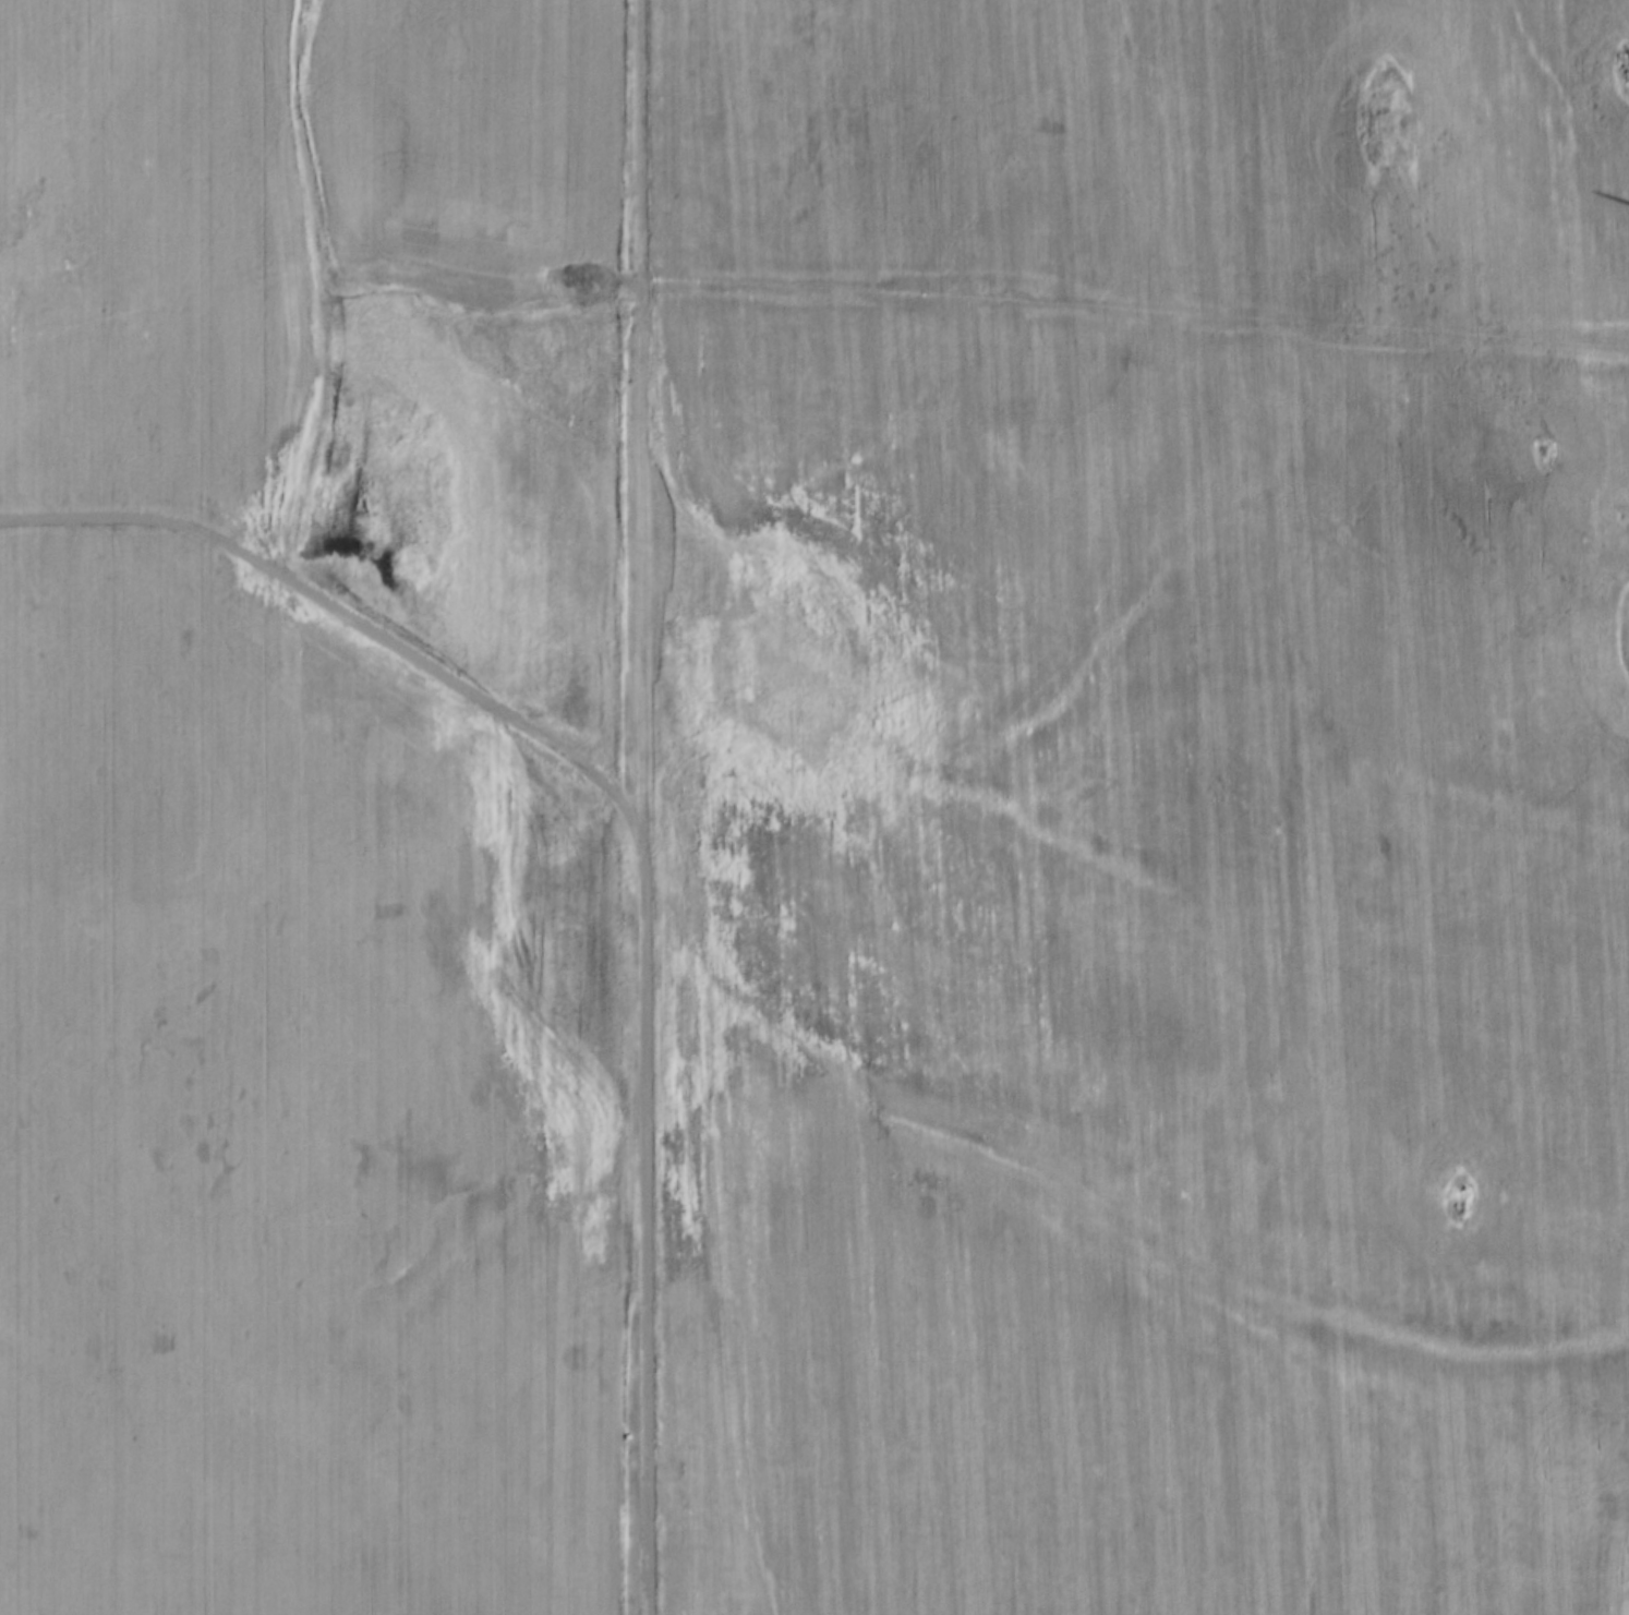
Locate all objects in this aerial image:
road: (637, 807)

